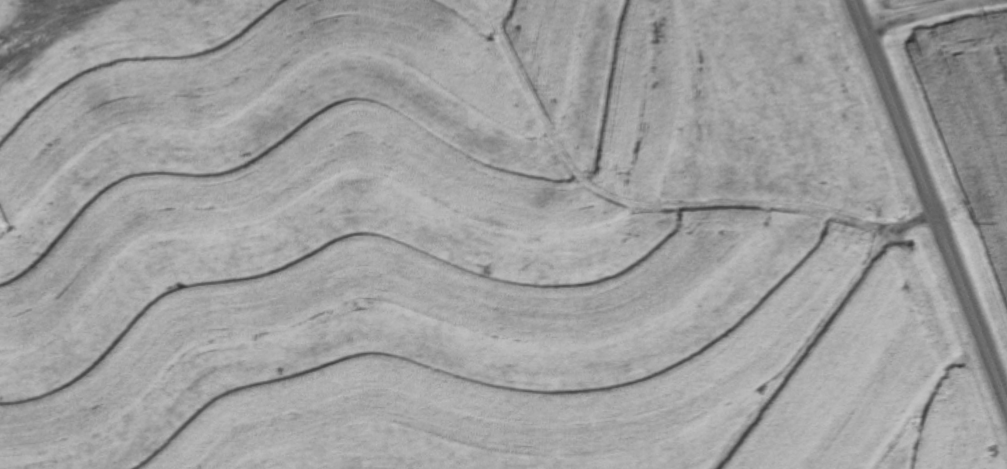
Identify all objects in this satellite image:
road: (928, 13)
road: (929, 204)

